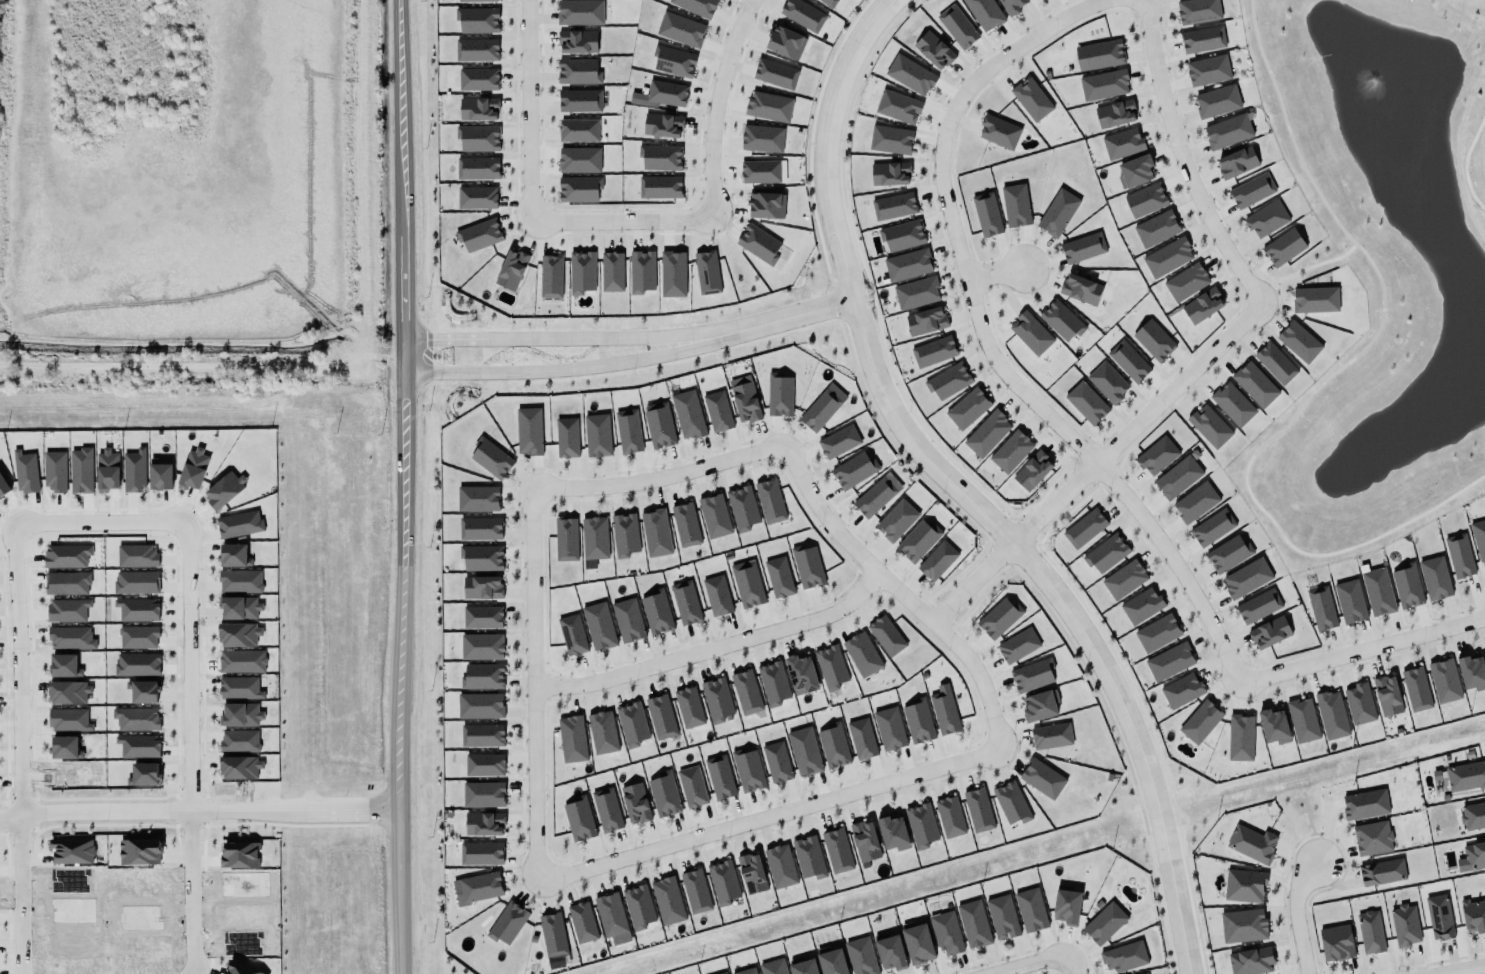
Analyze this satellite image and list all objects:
building: (477, 1)
building: (1008, 6)
building: (696, 7)
building: (1197, 11)
building: (580, 12)
road: (881, 12)
building: (984, 13)
building: (803, 15)
building: (957, 27)
building: (682, 28)
building: (1202, 40)
building: (577, 42)
building: (785, 43)
building: (476, 50)
building: (933, 50)
building: (1099, 55)
building: (675, 60)
building: (578, 69)
building: (1205, 69)
building: (777, 73)
building: (910, 75)
building: (478, 79)
fountain: (1368, 84)
building: (1103, 85)
building: (667, 92)
building: (580, 99)
building: (1031, 99)
building: (1215, 100)
road: (713, 103)
building: (768, 106)
building: (898, 107)
building: (478, 109)
road: (529, 109)
building: (1113, 112)
building: (664, 125)
building: (577, 129)
building: (1228, 131)
building: (999, 132)
building: (763, 137)
building: (478, 138)
building: (890, 140)
building: (1122, 144)
building: (661, 157)
building: (578, 159)
road: (1183, 160)
building: (1236, 162)
building: (762, 170)
building: (888, 171)
building: (1134, 172)
building: (661, 185)
building: (580, 188)
building: (1251, 191)
building: (476, 198)
building: (1143, 199)
building: (765, 203)
building: (1013, 203)
building: (893, 206)
building: (1057, 213)
building: (985, 214)
building: (1266, 219)
road: (619, 220)
building: (1153, 227)
building: (900, 234)
building: (479, 235)
building: (758, 244)
building: (1281, 246)
building: (1082, 248)
building: (1165, 256)
building: (905, 263)
building: (511, 270)
building: (706, 271)
building: (581, 272)
building: (612, 272)
building: (641, 272)
building: (671, 272)
road: (998, 275)
building: (550, 276)
building: (1185, 281)
building: (1078, 287)
building: (915, 292)
building: (1314, 298)
building: (1202, 306)
building: (1059, 319)
building: (925, 321)
road: (760, 324)
building: (1029, 333)
road: (531, 339)
road: (986, 340)
building: (1153, 340)
building: (1299, 342)
building: (933, 352)
building: (1125, 360)
building: (1275, 363)
road: (532, 372)
building: (948, 381)
building: (1107, 382)
building: (1253, 382)
building: (779, 395)
building: (1084, 401)
building: (745, 403)
building: (1232, 404)
building: (967, 409)
building: (716, 411)
building: (819, 411)
building: (687, 415)
building: (659, 426)
building: (1209, 426)
building: (528, 431)
building: (628, 432)
building: (987, 434)
building: (597, 435)
building: (565, 436)
building: (838, 442)
building: (1008, 450)
building: (1157, 456)
building: (491, 458)
road: (1096, 463)
building: (193, 469)
building: (1030, 469)
building: (80, 470)
building: (107, 470)
building: (134, 470)
building: (854, 470)
building: (54, 471)
building: (25, 472)
building: (160, 476)
road: (659, 477)
building: (1178, 478)
road: (397, 486)
building: (3, 487)
building: (224, 490)
building: (873, 497)
building: (770, 501)
building: (1195, 503)
road: (973, 504)
building: (742, 508)
building: (714, 516)
building: (896, 520)
building: (239, 524)
building: (684, 524)
road: (91, 525)
building: (1212, 527)
building: (1084, 528)
building: (480, 529)
building: (655, 533)
building: (624, 535)
building: (1478, 537)
building: (565, 540)
building: (594, 540)
building: (918, 541)
building: (1106, 553)
building: (1227, 553)
building: (234, 555)
building: (66, 556)
building: (136, 556)
building: (1459, 556)
building: (481, 558)
building: (937, 559)
building: (807, 567)
building: (779, 577)
building: (1246, 578)
building: (1435, 578)
building: (1124, 580)
building: (136, 582)
building: (240, 582)
building: (67, 583)
building: (747, 584)
building: (1407, 586)
building: (482, 587)
building: (1377, 592)
road: (899, 593)
building: (717, 596)
building: (1350, 601)
building: (684, 602)
building: (1139, 604)
building: (1256, 605)
building: (1319, 607)
building: (240, 608)
building: (68, 610)
building: (137, 610)
building: (656, 612)
building: (997, 616)
building: (482, 617)
building: (627, 620)
building: (599, 626)
building: (1269, 633)
building: (1157, 634)
building: (572, 635)
building: (886, 636)
building: (138, 637)
building: (71, 638)
building: (480, 646)
building: (1017, 646)
road: (712, 647)
road: (1362, 651)
building: (861, 653)
building: (242, 661)
building: (1169, 662)
building: (137, 665)
building: (64, 666)
building: (830, 667)
building: (801, 673)
building: (1032, 673)
building: (1471, 673)
building: (482, 676)
building: (1444, 681)
building: (773, 684)
road: (532, 685)
building: (239, 688)
building: (68, 689)
building: (1416, 689)
building: (1181, 691)
building: (143, 692)
building: (746, 692)
building: (1385, 694)
building: (717, 701)
building: (1359, 704)
building: (480, 706)
building: (687, 706)
building: (1040, 706)
building: (944, 711)
building: (1331, 715)
building: (660, 716)
building: (136, 719)
building: (917, 719)
building: (69, 720)
building: (1302, 720)
building: (1200, 722)
building: (630, 724)
building: (1273, 724)
building: (889, 729)
building: (602, 733)
building: (482, 735)
building: (1051, 736)
building: (1240, 738)
building: (572, 739)
building: (861, 739)
building: (239, 741)
building: (63, 744)
building: (833, 746)
building: (139, 748)
building: (804, 751)
building: (776, 762)
building: (484, 765)
building: (747, 770)
building: (1465, 775)
building: (1041, 776)
building: (719, 777)
building: (692, 787)
building: (483, 794)
building: (663, 795)
building: (1010, 801)
building: (635, 803)
building: (1362, 803)
building: (607, 810)
building: (978, 810)
road: (292, 811)
road: (766, 816)
building: (1473, 816)
building: (949, 817)
road: (99, 818)
building: (578, 820)
building: (919, 823)
building: (484, 824)
building: (893, 830)
building: (1370, 837)
building: (865, 841)
building: (1252, 844)
building: (837, 851)
building: (139, 852)
building: (480, 852)
building: (1472, 857)
building: (808, 858)
building: (780, 866)
building: (1382, 872)
building: (752, 874)
building: (723, 883)
building: (1244, 884)
building: (479, 888)
road: (16, 890)
building: (695, 891)
road: (186, 895)
building: (666, 899)
building: (1064, 904)
building: (637, 906)
building: (1030, 910)
building: (610, 915)
road: (1294, 915)
building: (1438, 915)
building: (1473, 915)
building: (999, 916)
building: (582, 922)
building: (972, 922)
building: (507, 923)
building: (1104, 923)
building: (1403, 924)
building: (1242, 925)
building: (944, 932)
building: (1370, 932)
building: (552, 935)
building: (1336, 941)
building: (915, 942)
building: (888, 951)
building: (858, 956)
building: (1123, 957)
building: (829, 960)
building: (1251, 961)
road: (1032, 963)
road: (1071, 963)
building: (800, 966)
building: (773, 967)
building: (743, 970)
road: (1467, 970)
building: (720, 972)
building: (1144, 973)

